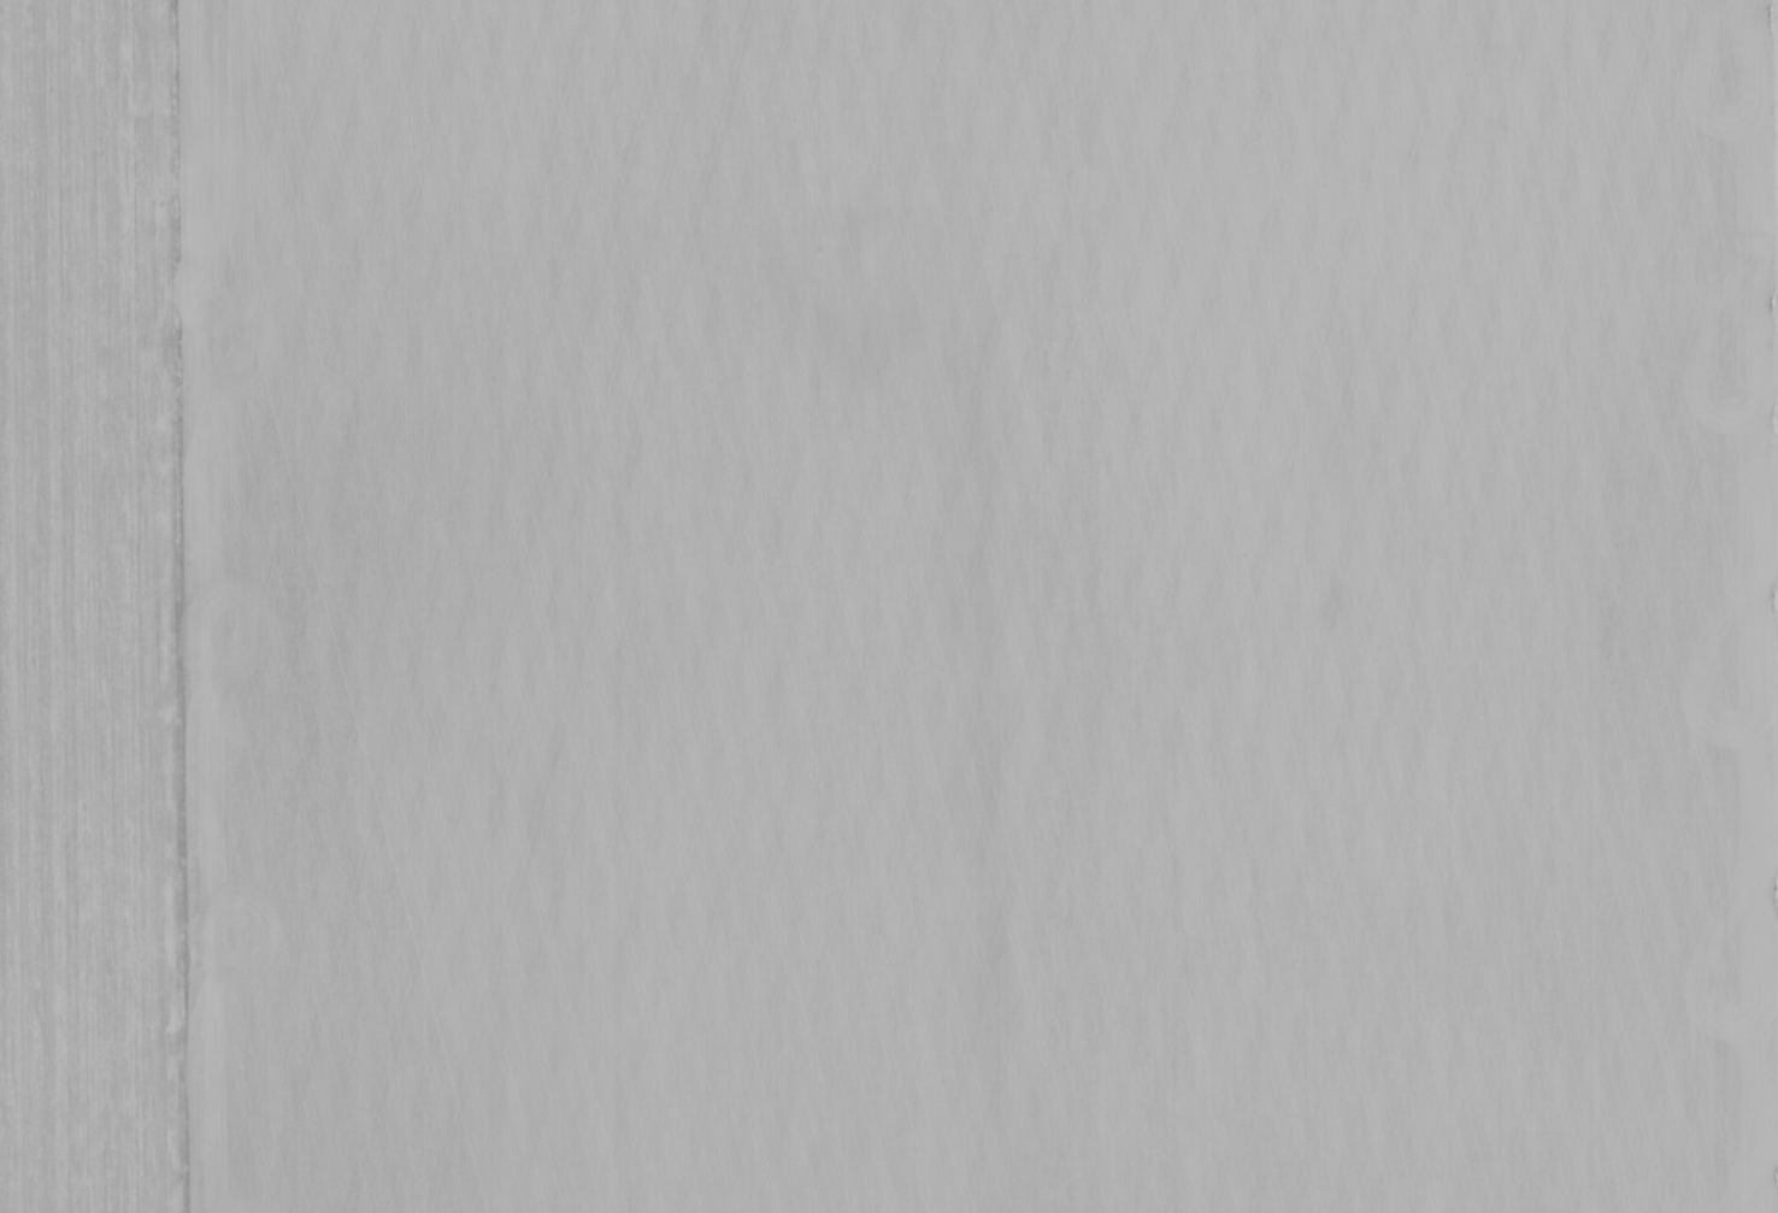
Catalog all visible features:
road: (884, 796)

